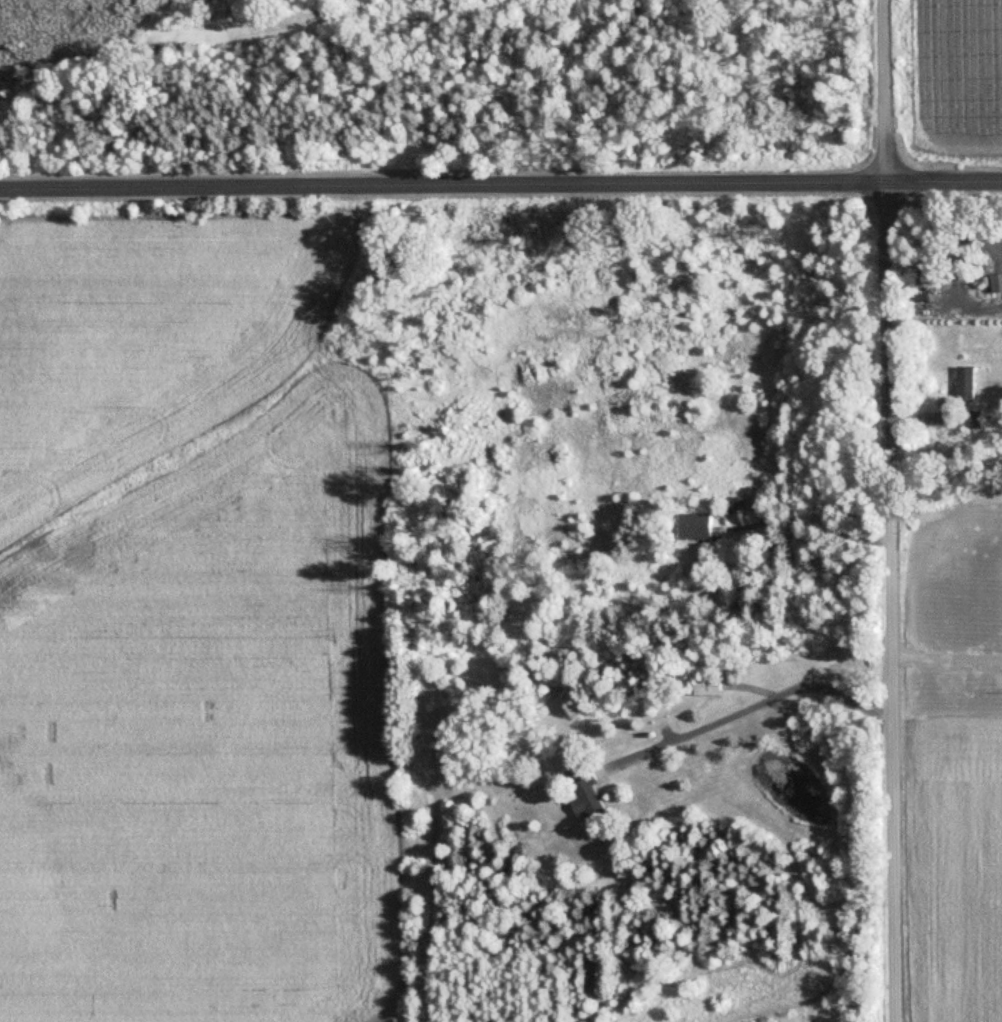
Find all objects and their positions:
road: (885, 90)
road: (501, 185)
building: (997, 283)
building: (968, 384)
building: (976, 419)
building: (697, 526)
road: (891, 601)
road: (947, 655)
building: (708, 686)
road: (755, 701)
building: (590, 795)

